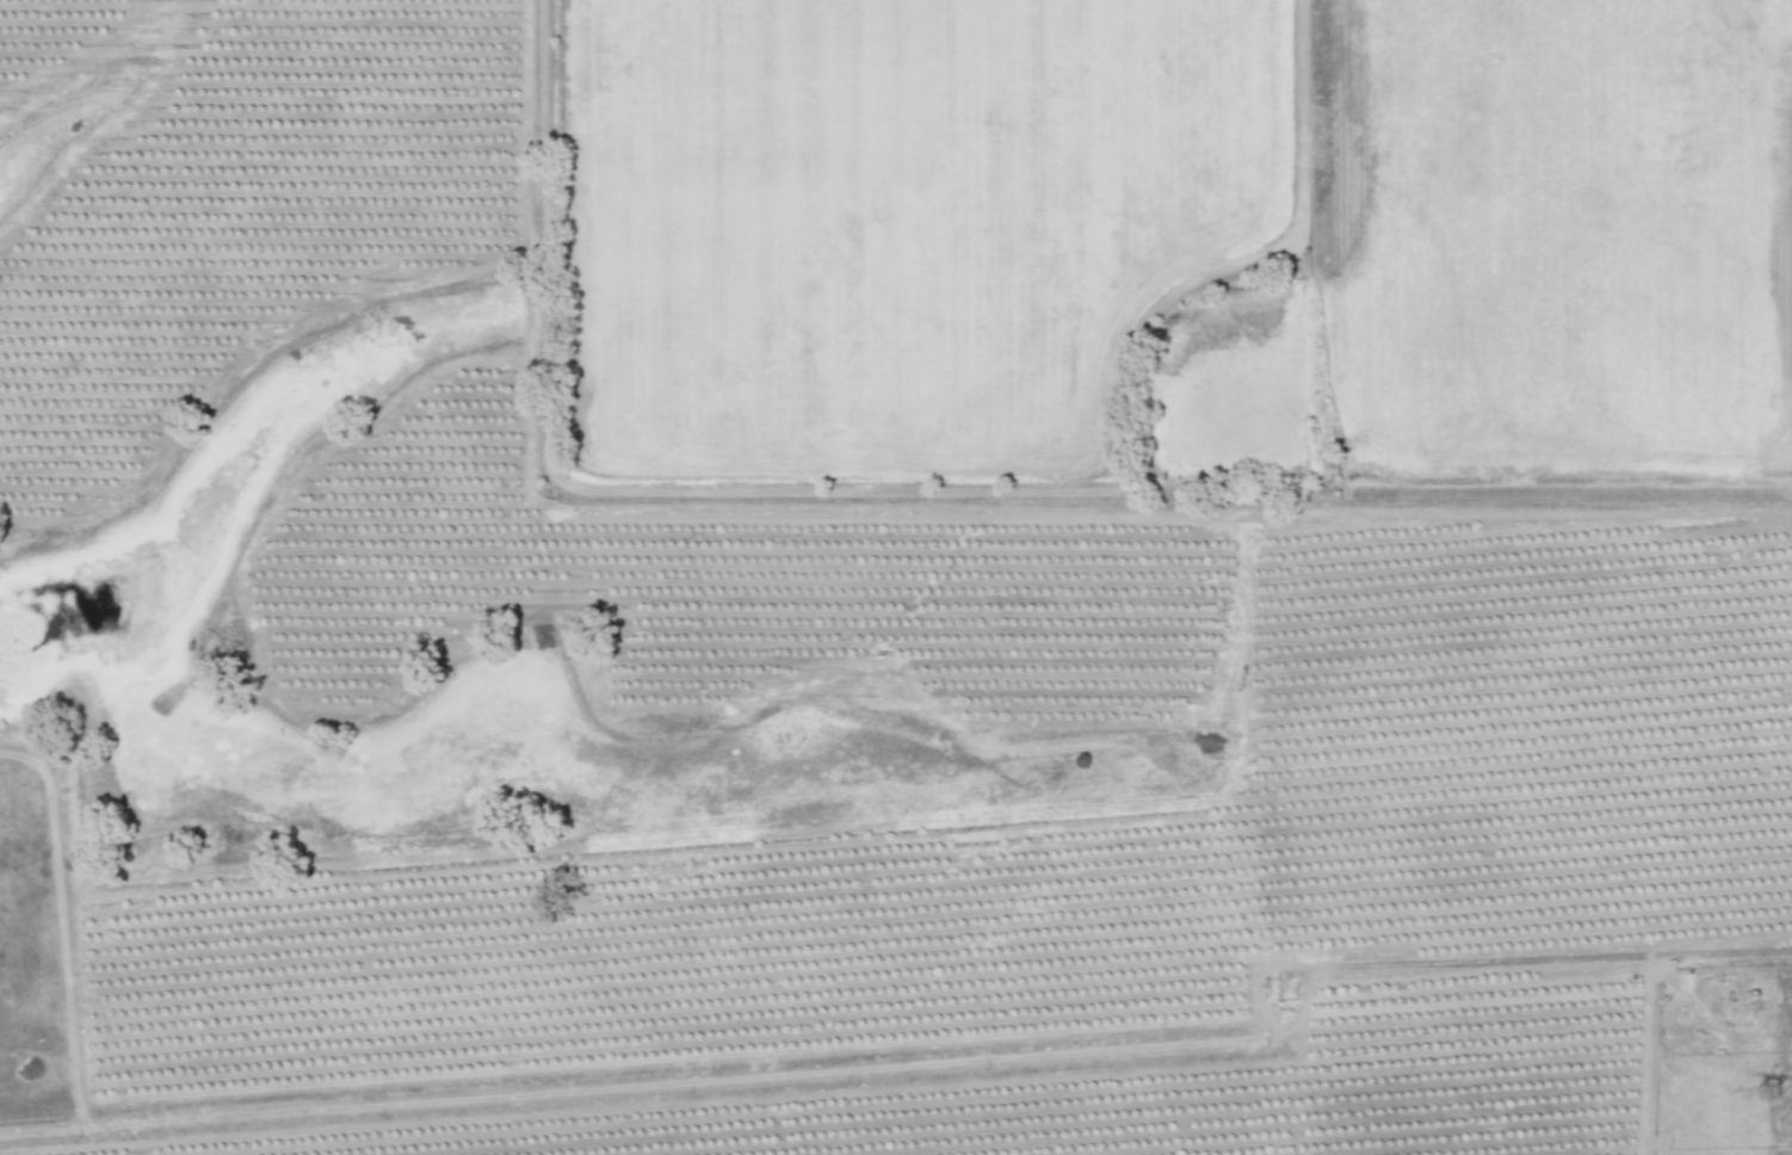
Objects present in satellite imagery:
power tower: (1774, 1097)

